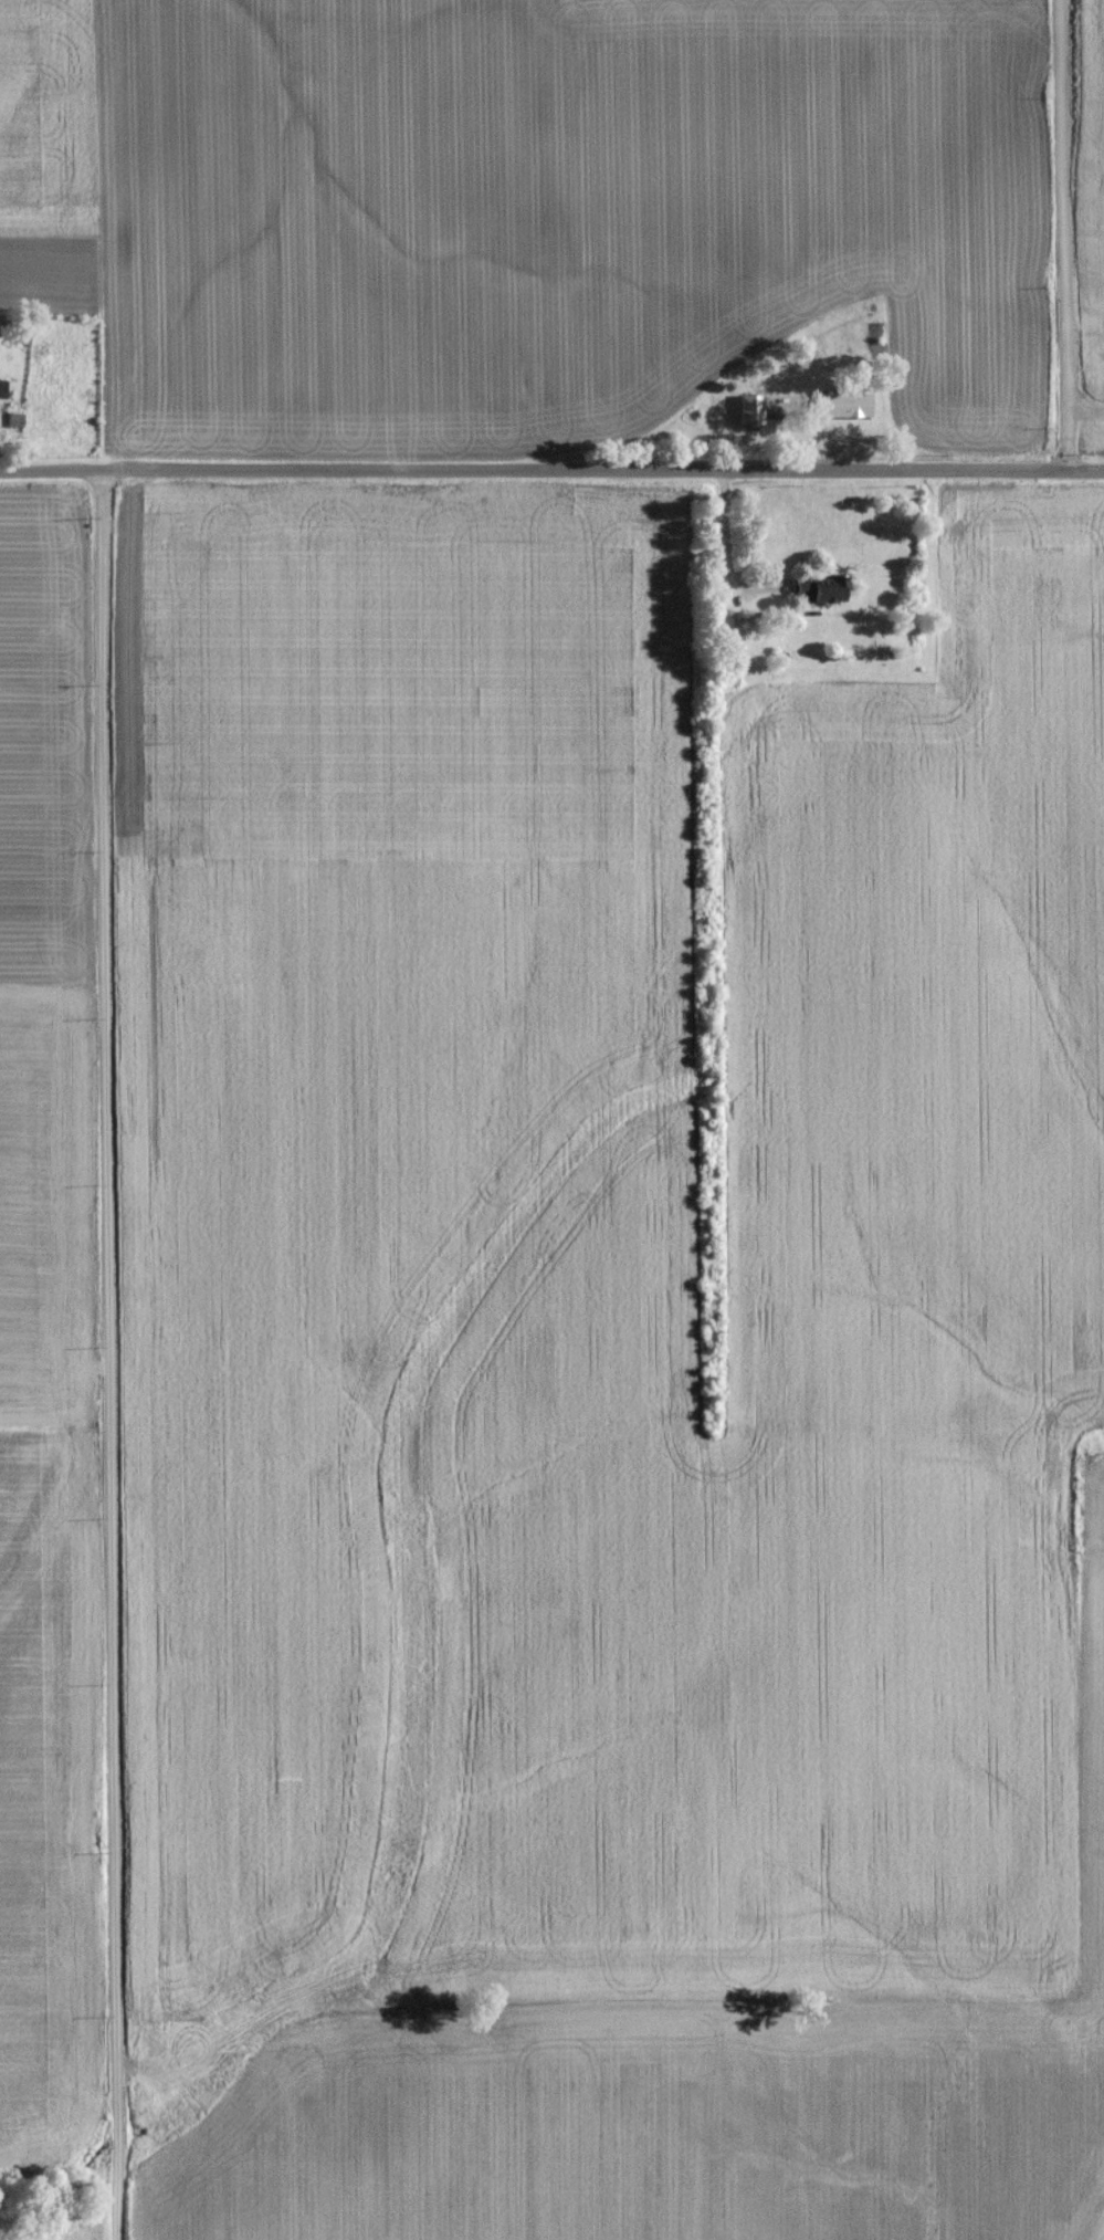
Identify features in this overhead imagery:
road: (1061, 235)
building: (3, 395)
building: (772, 421)
building: (14, 428)
road: (551, 474)
road: (724, 541)
building: (822, 596)
road: (107, 1358)

